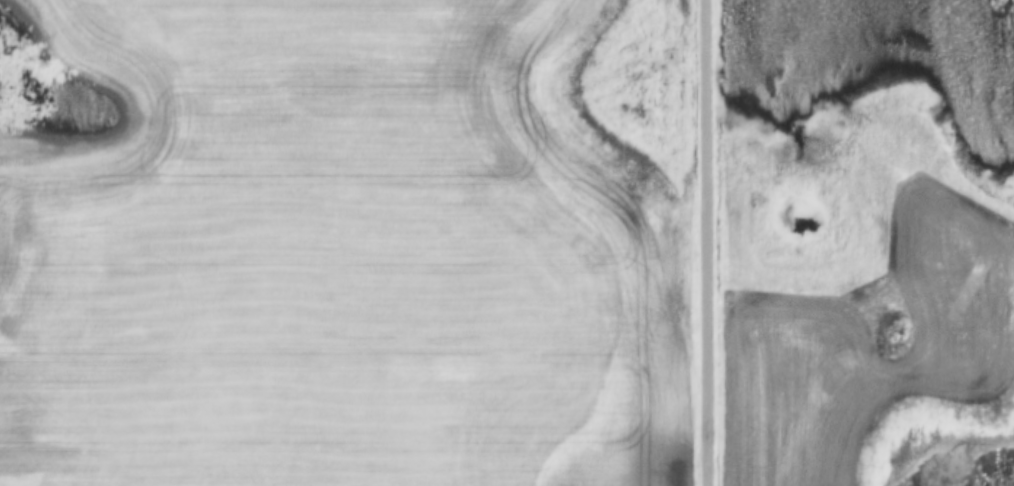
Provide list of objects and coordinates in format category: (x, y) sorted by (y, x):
road: (706, 242)

